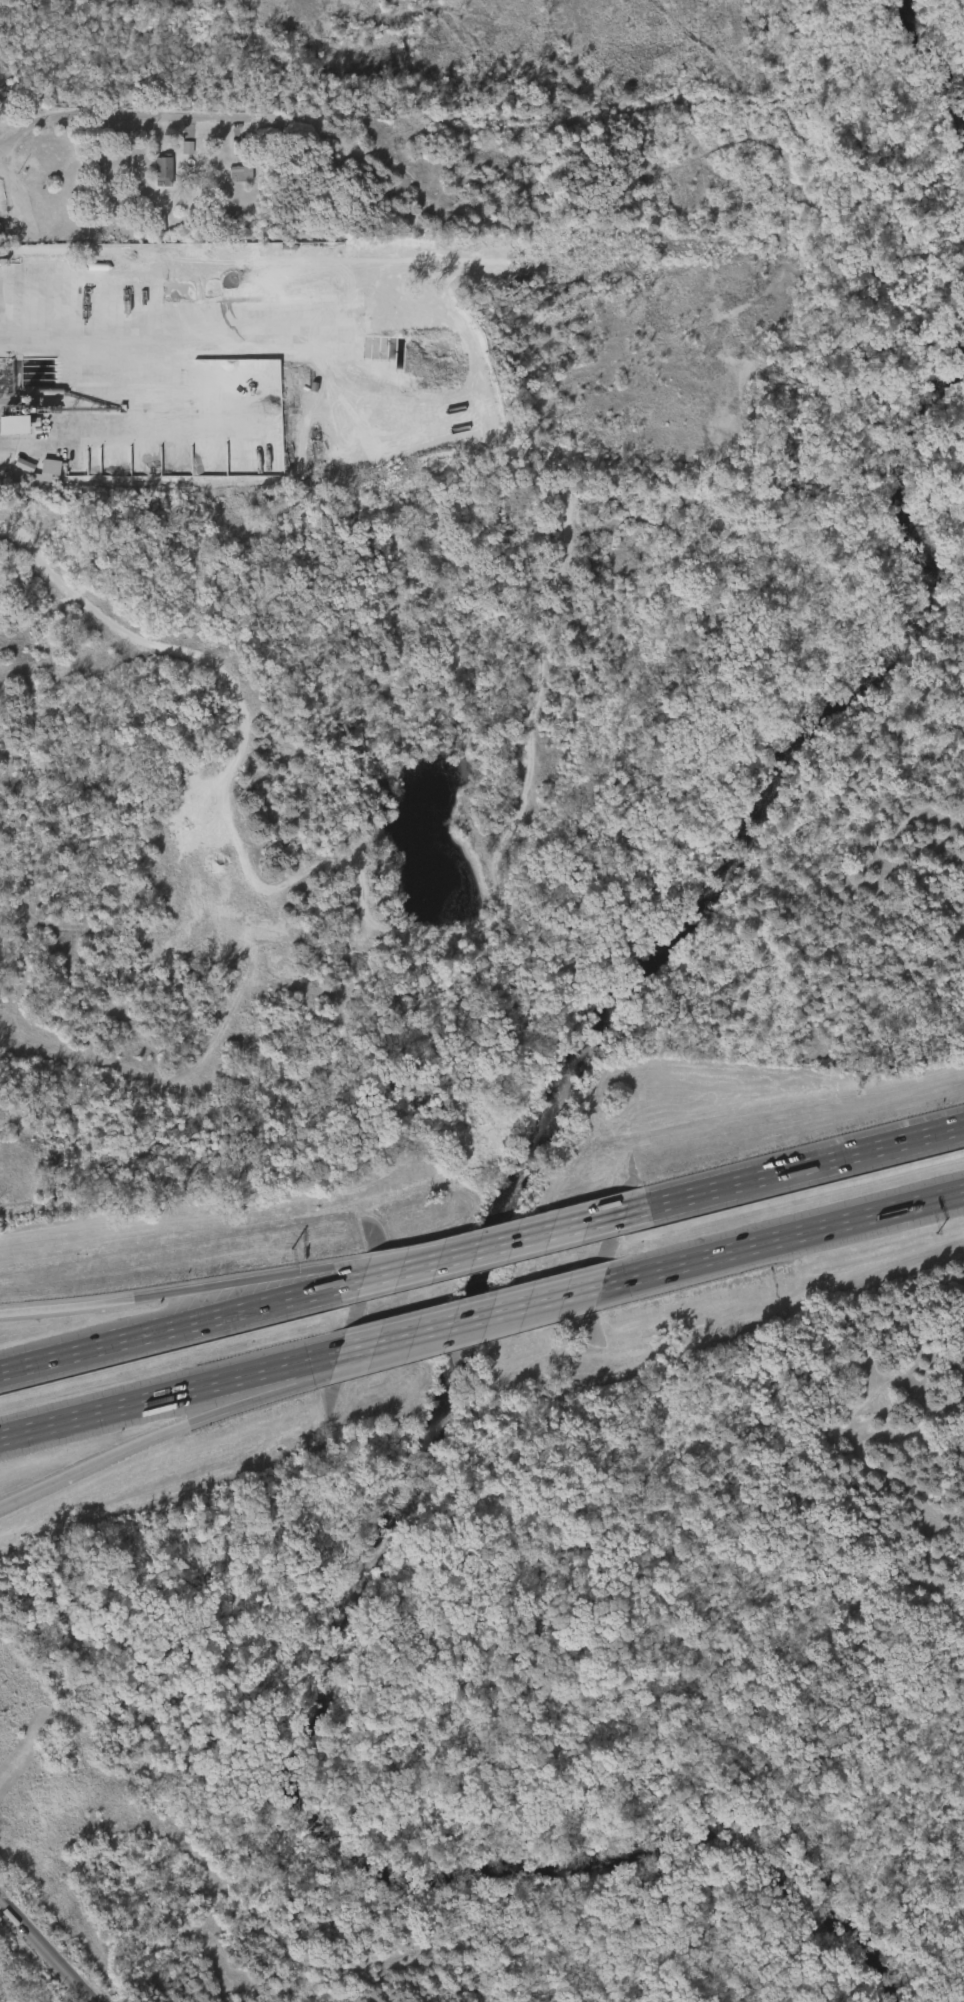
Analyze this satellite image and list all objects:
road: (455, 7)
road: (115, 122)
building: (179, 154)
building: (163, 168)
building: (239, 172)
building: (155, 173)
building: (233, 180)
building: (113, 222)
building: (131, 295)
building: (9, 431)
building: (42, 475)
road: (788, 1169)
road: (556, 1229)
road: (797, 1233)
road: (427, 1252)
road: (177, 1290)
road: (575, 1290)
road: (249, 1307)
road: (390, 1351)
road: (259, 1370)
road: (128, 1445)
road: (47, 1948)

